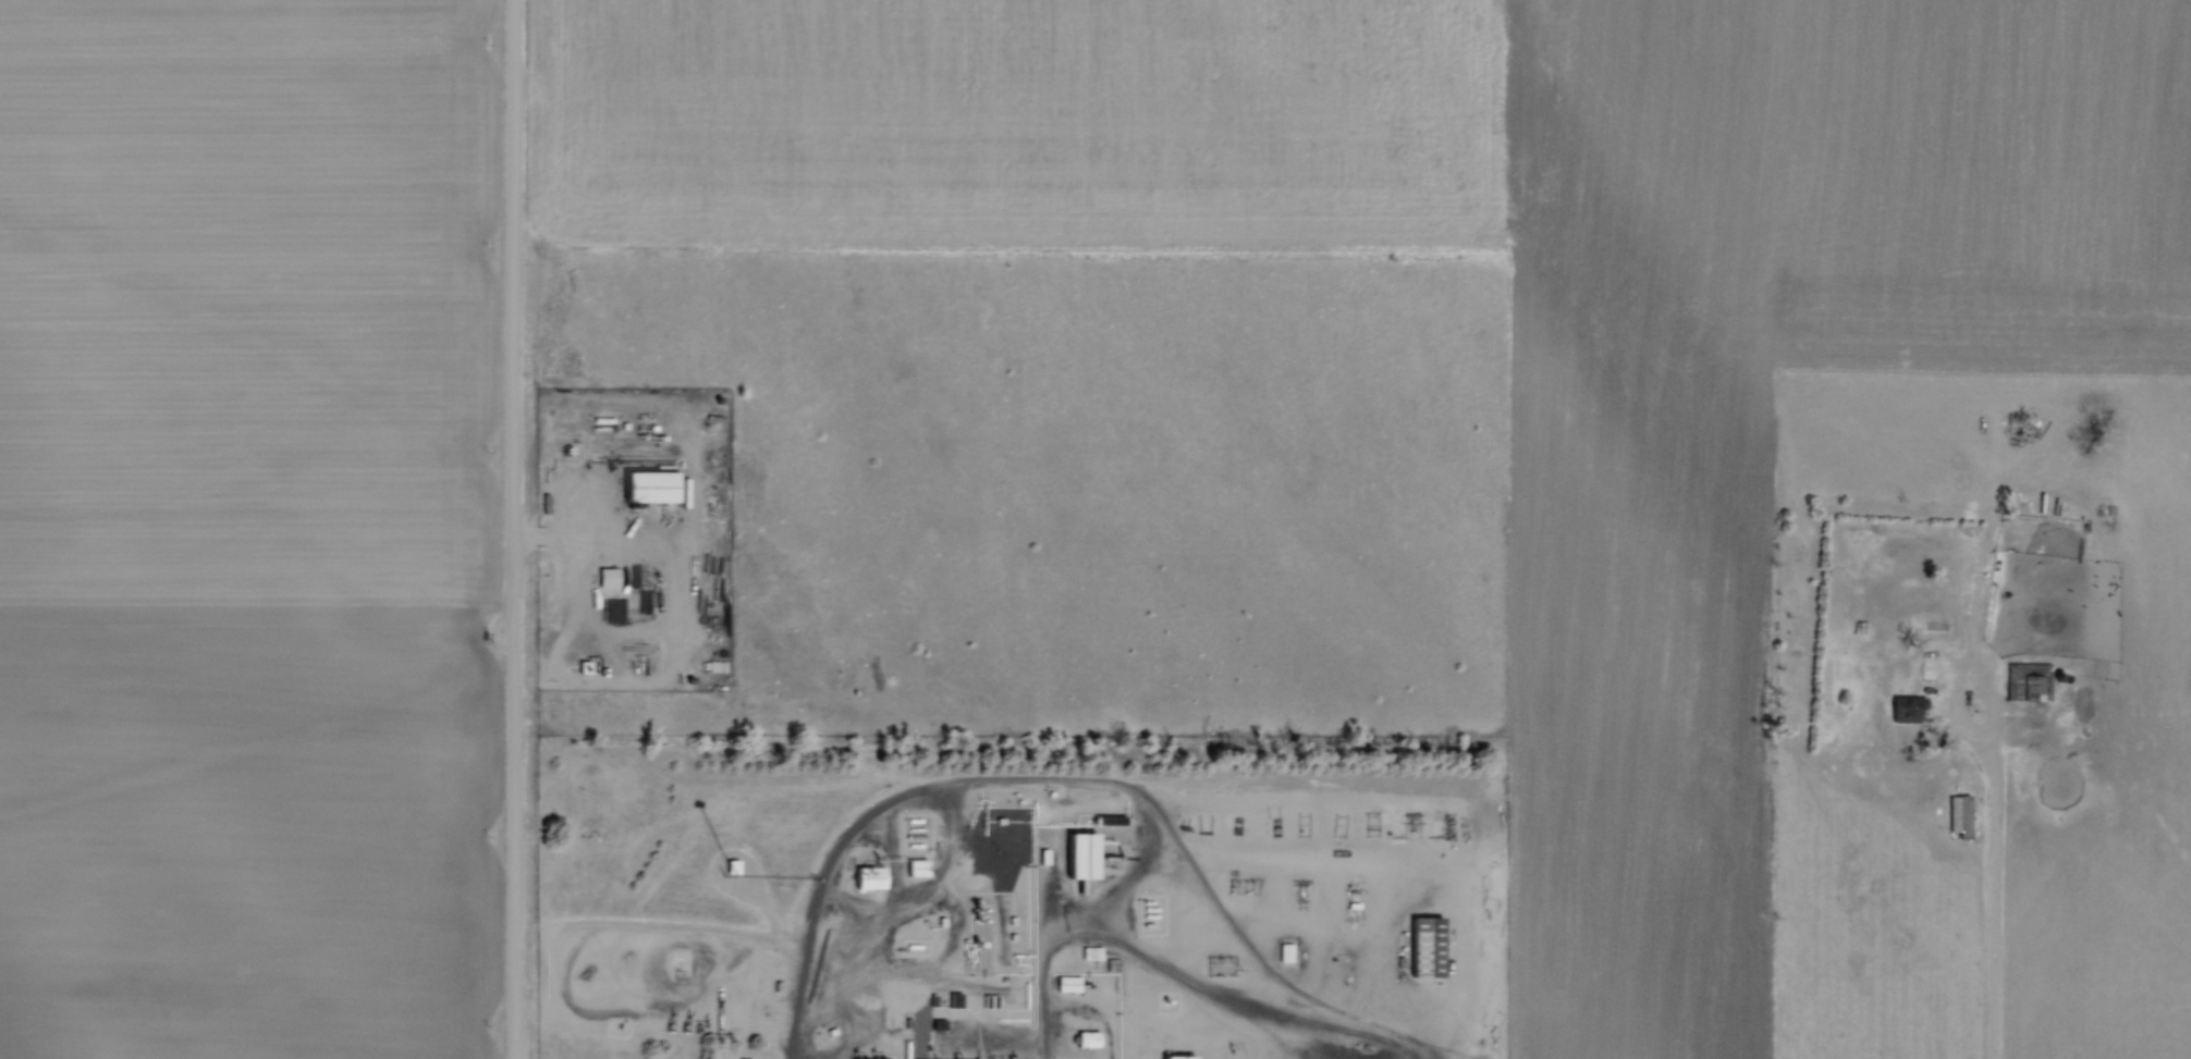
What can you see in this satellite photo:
crop: (1572, 378)
building: (652, 492)
road: (516, 529)
crop: (249, 530)
road: (590, 541)
building: (640, 575)
building: (610, 576)
building: (616, 612)
building: (2029, 682)
building: (2085, 702)
building: (1904, 709)
road: (1064, 779)
building: (1954, 813)
building: (1085, 858)
building: (918, 867)
road: (1994, 873)
building: (872, 878)
building: (1428, 946)
building: (1093, 952)
building: (1286, 953)
building: (1115, 965)
road: (564, 968)
building: (1072, 985)
building: (957, 999)
building: (1090, 1039)
building: (1176, 1057)

